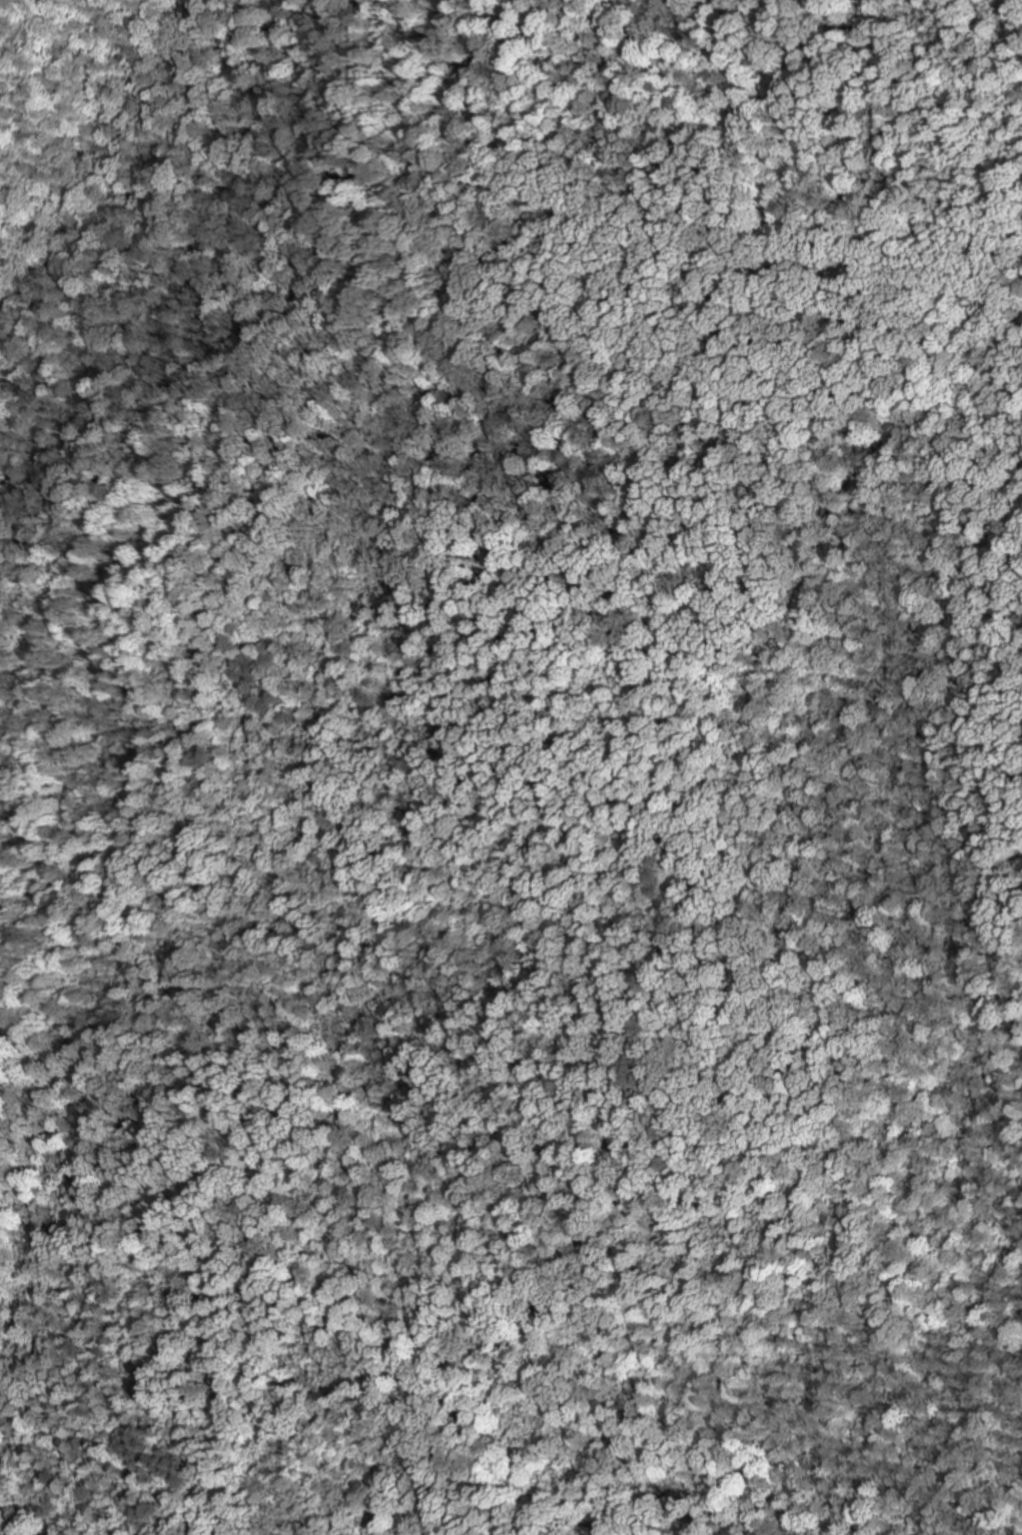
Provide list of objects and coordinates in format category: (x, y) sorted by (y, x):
road: (156, 197)
road: (703, 826)

